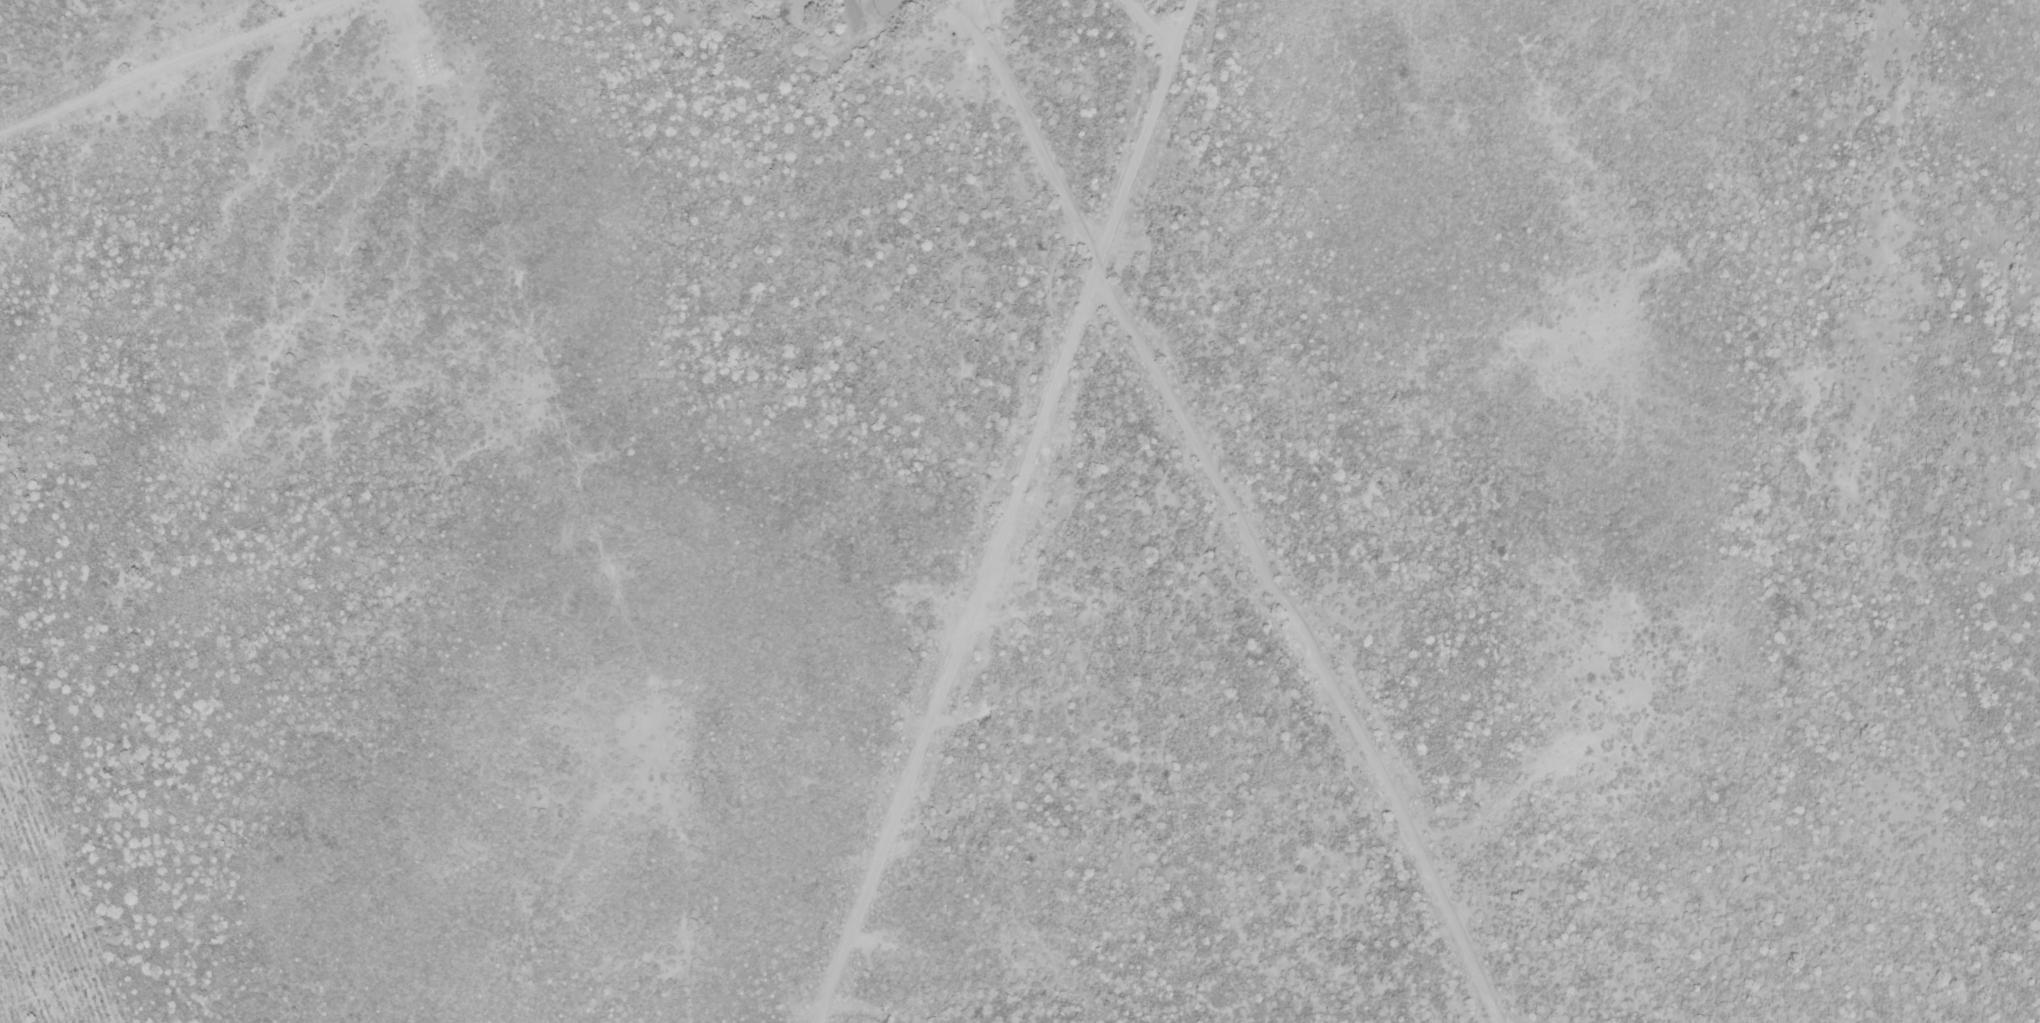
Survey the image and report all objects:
road: (1179, 24)
road: (169, 66)
road: (1011, 507)

